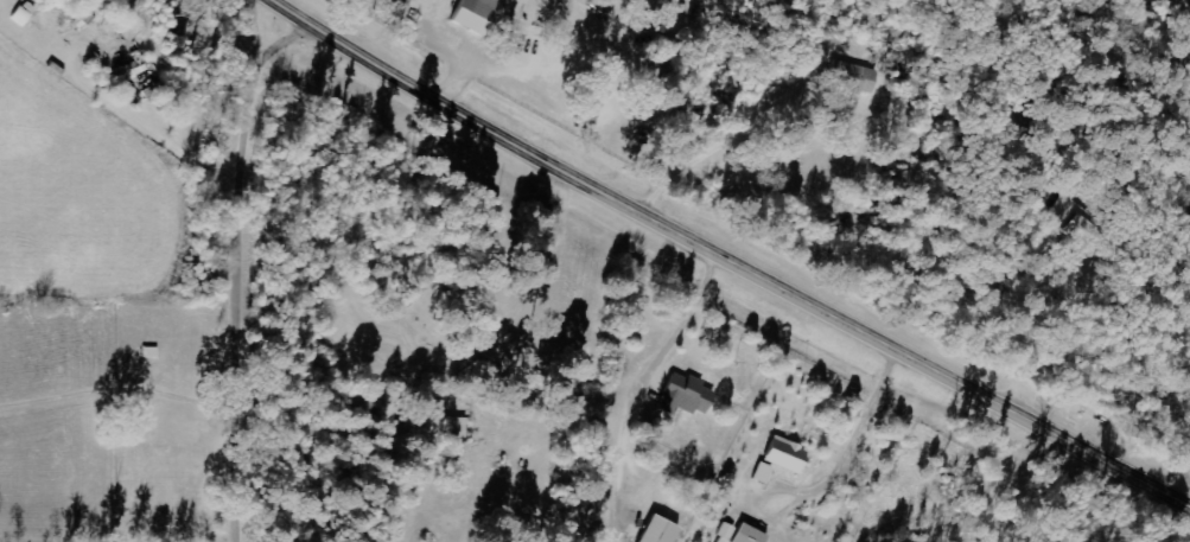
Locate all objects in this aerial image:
building: (472, 13)
road: (1052, 39)
building: (855, 78)
road: (731, 256)
road: (247, 269)
building: (683, 395)
building: (452, 428)
building: (783, 454)
building: (762, 473)
building: (655, 530)
building: (738, 534)

